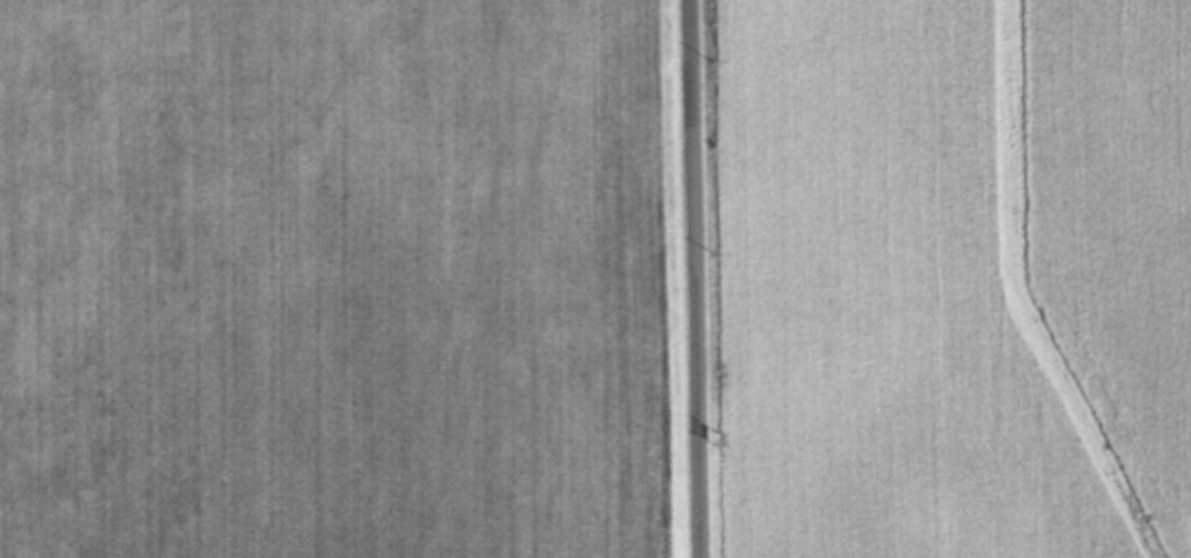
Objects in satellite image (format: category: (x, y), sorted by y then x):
road: (694, 278)

